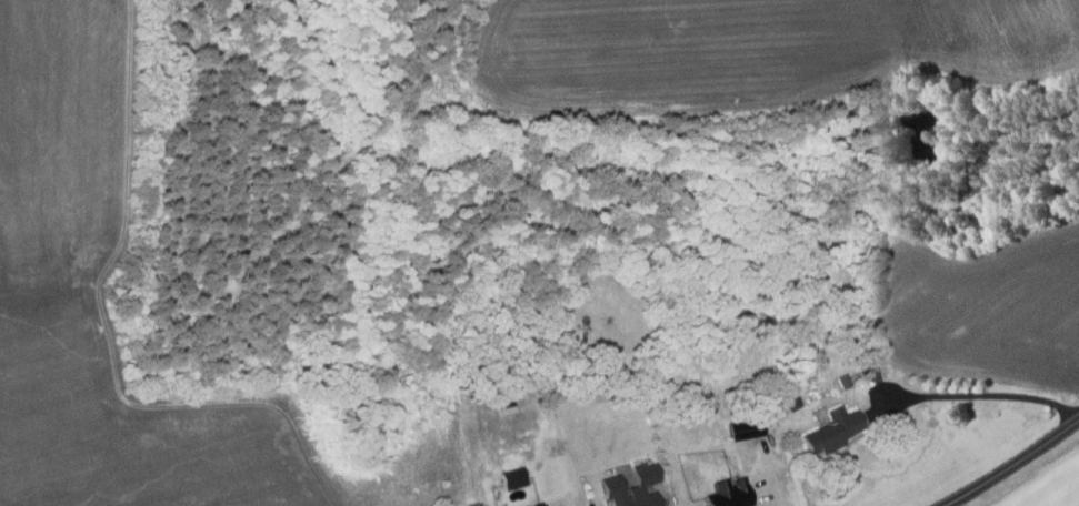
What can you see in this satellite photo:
building: (870, 375)
road: (992, 395)
building: (831, 432)
road: (1011, 464)
building: (630, 486)
road: (597, 504)

